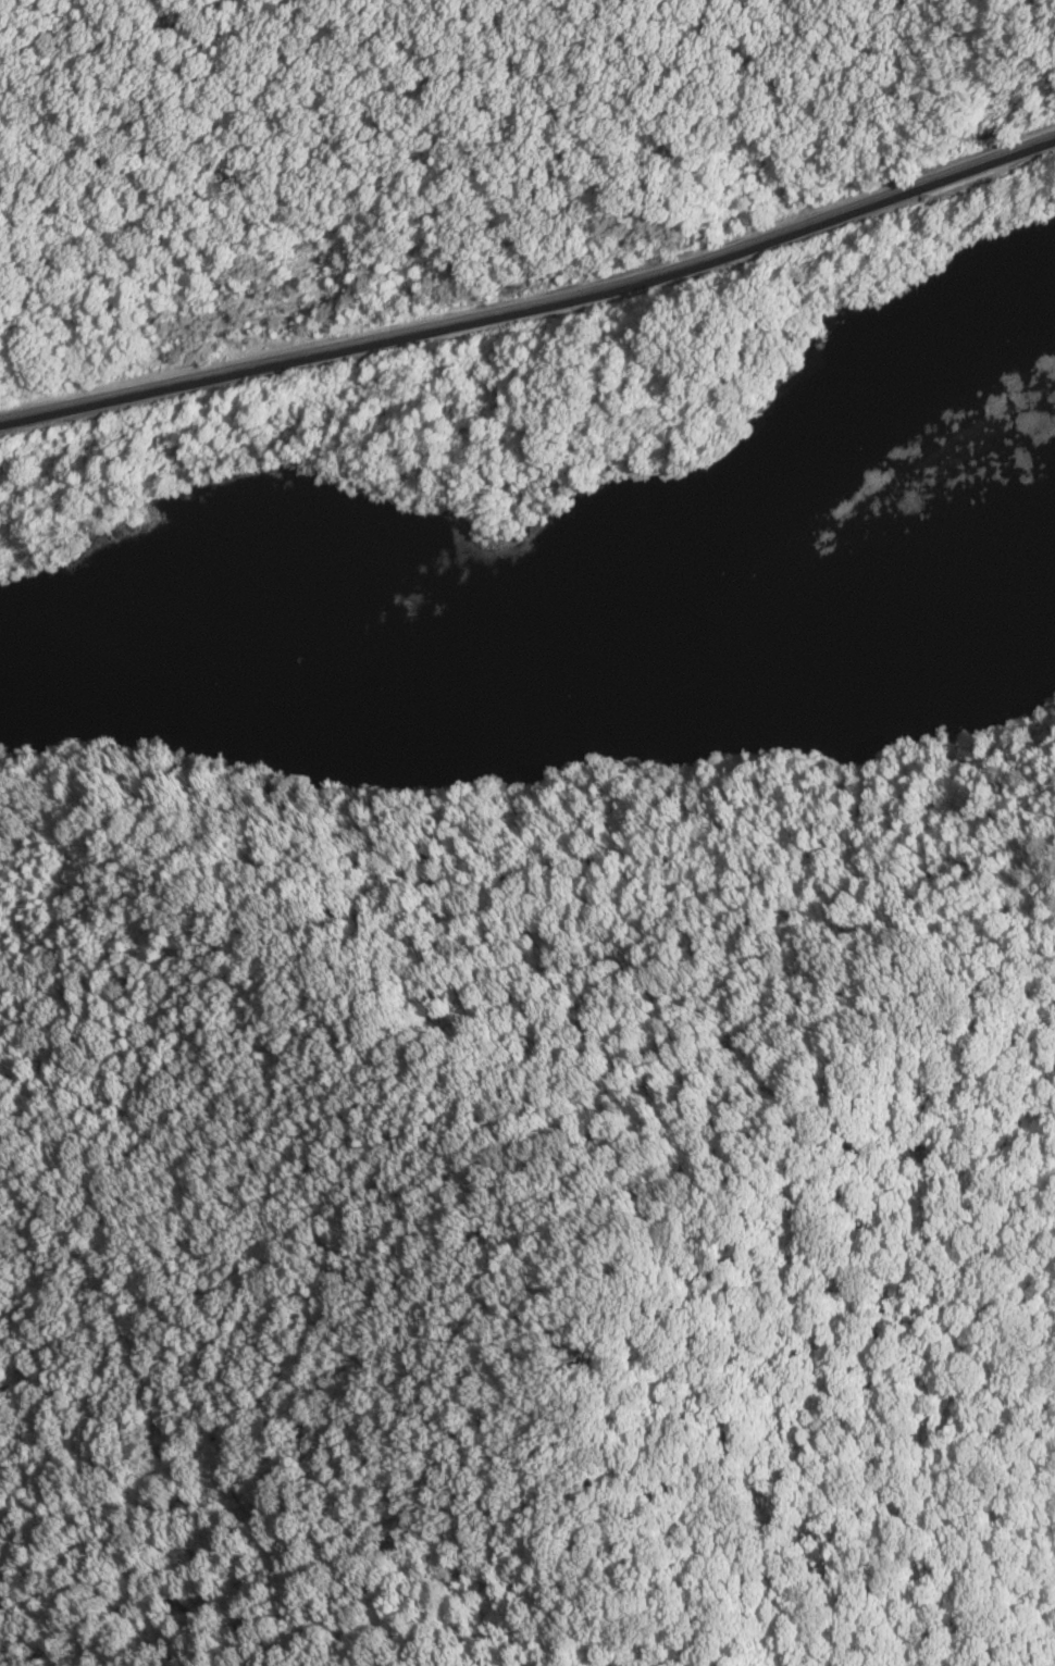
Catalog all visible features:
road: (535, 304)
river: (586, 631)
road: (477, 844)

